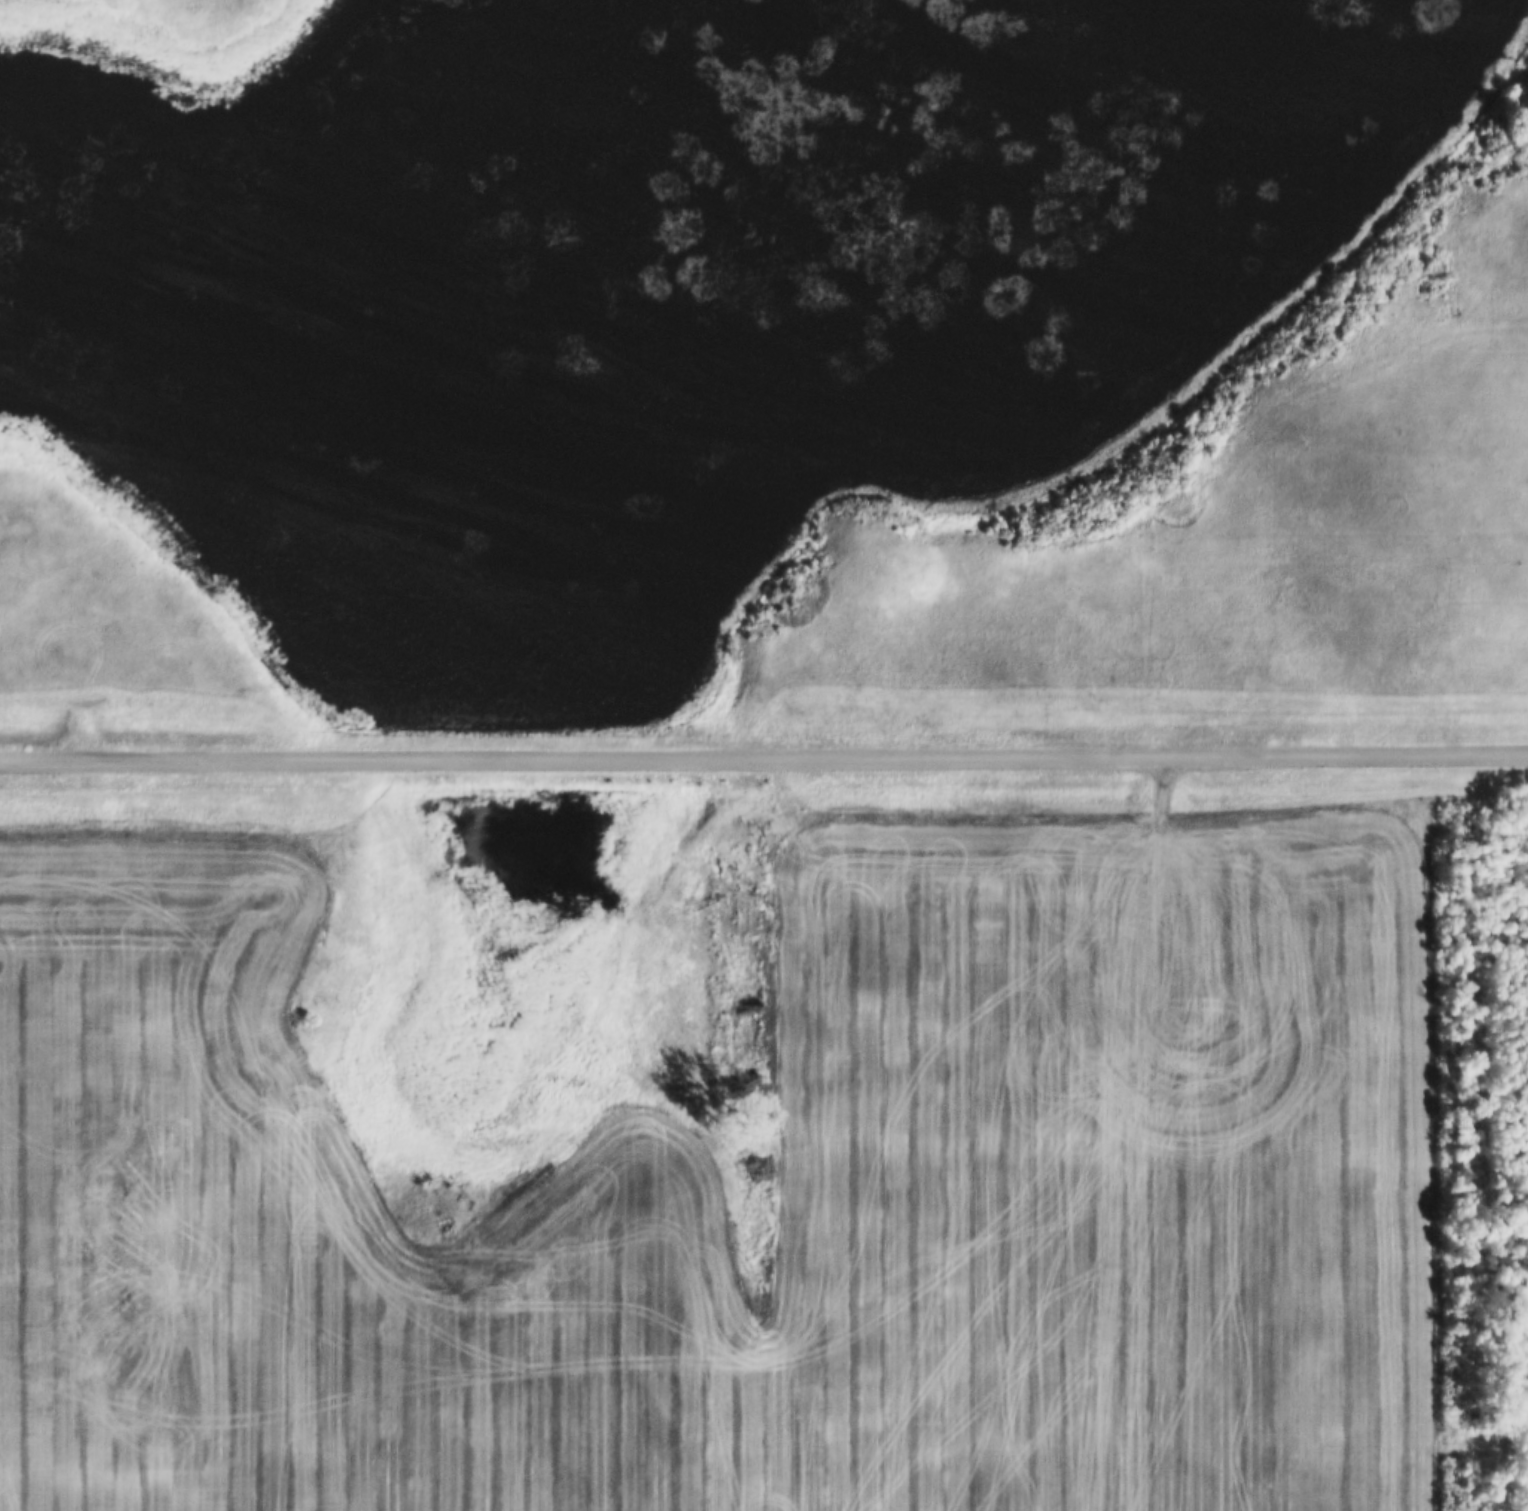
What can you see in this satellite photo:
road: (764, 753)
road: (1159, 1132)

